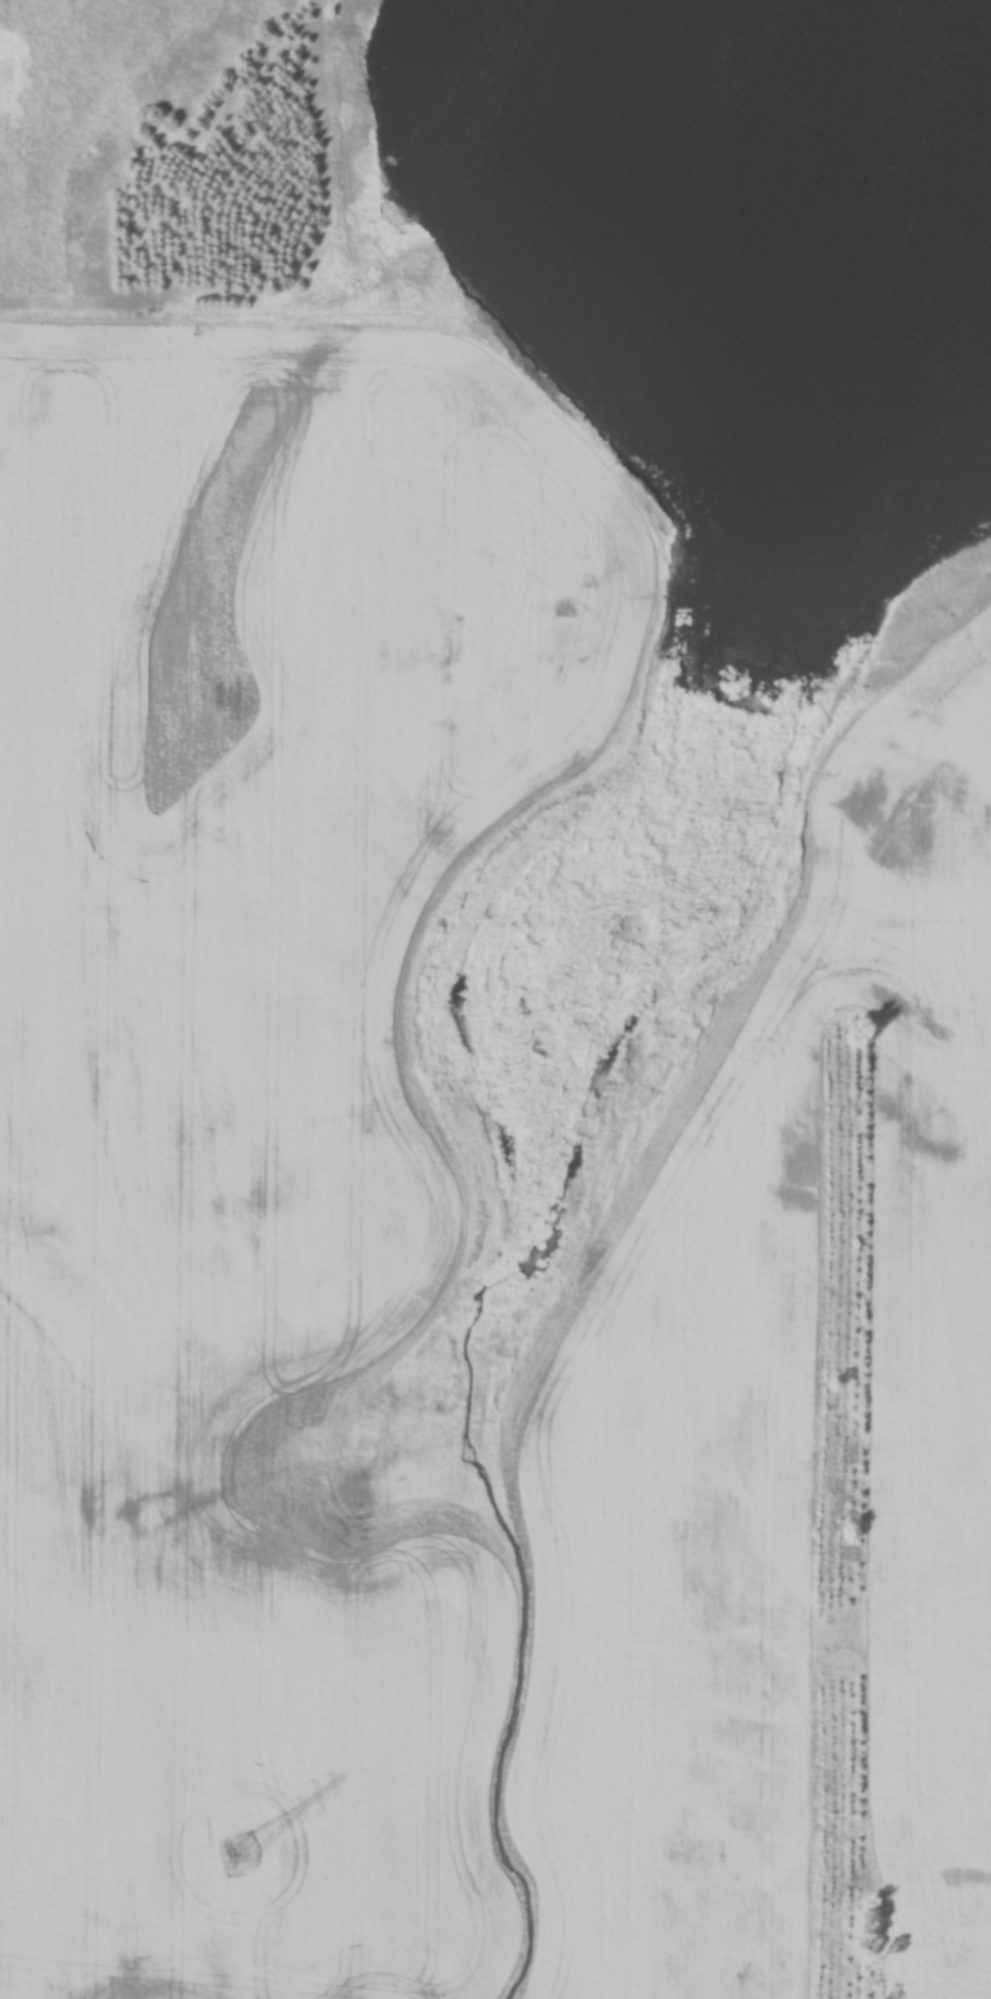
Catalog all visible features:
power tower: (239, 1849)

